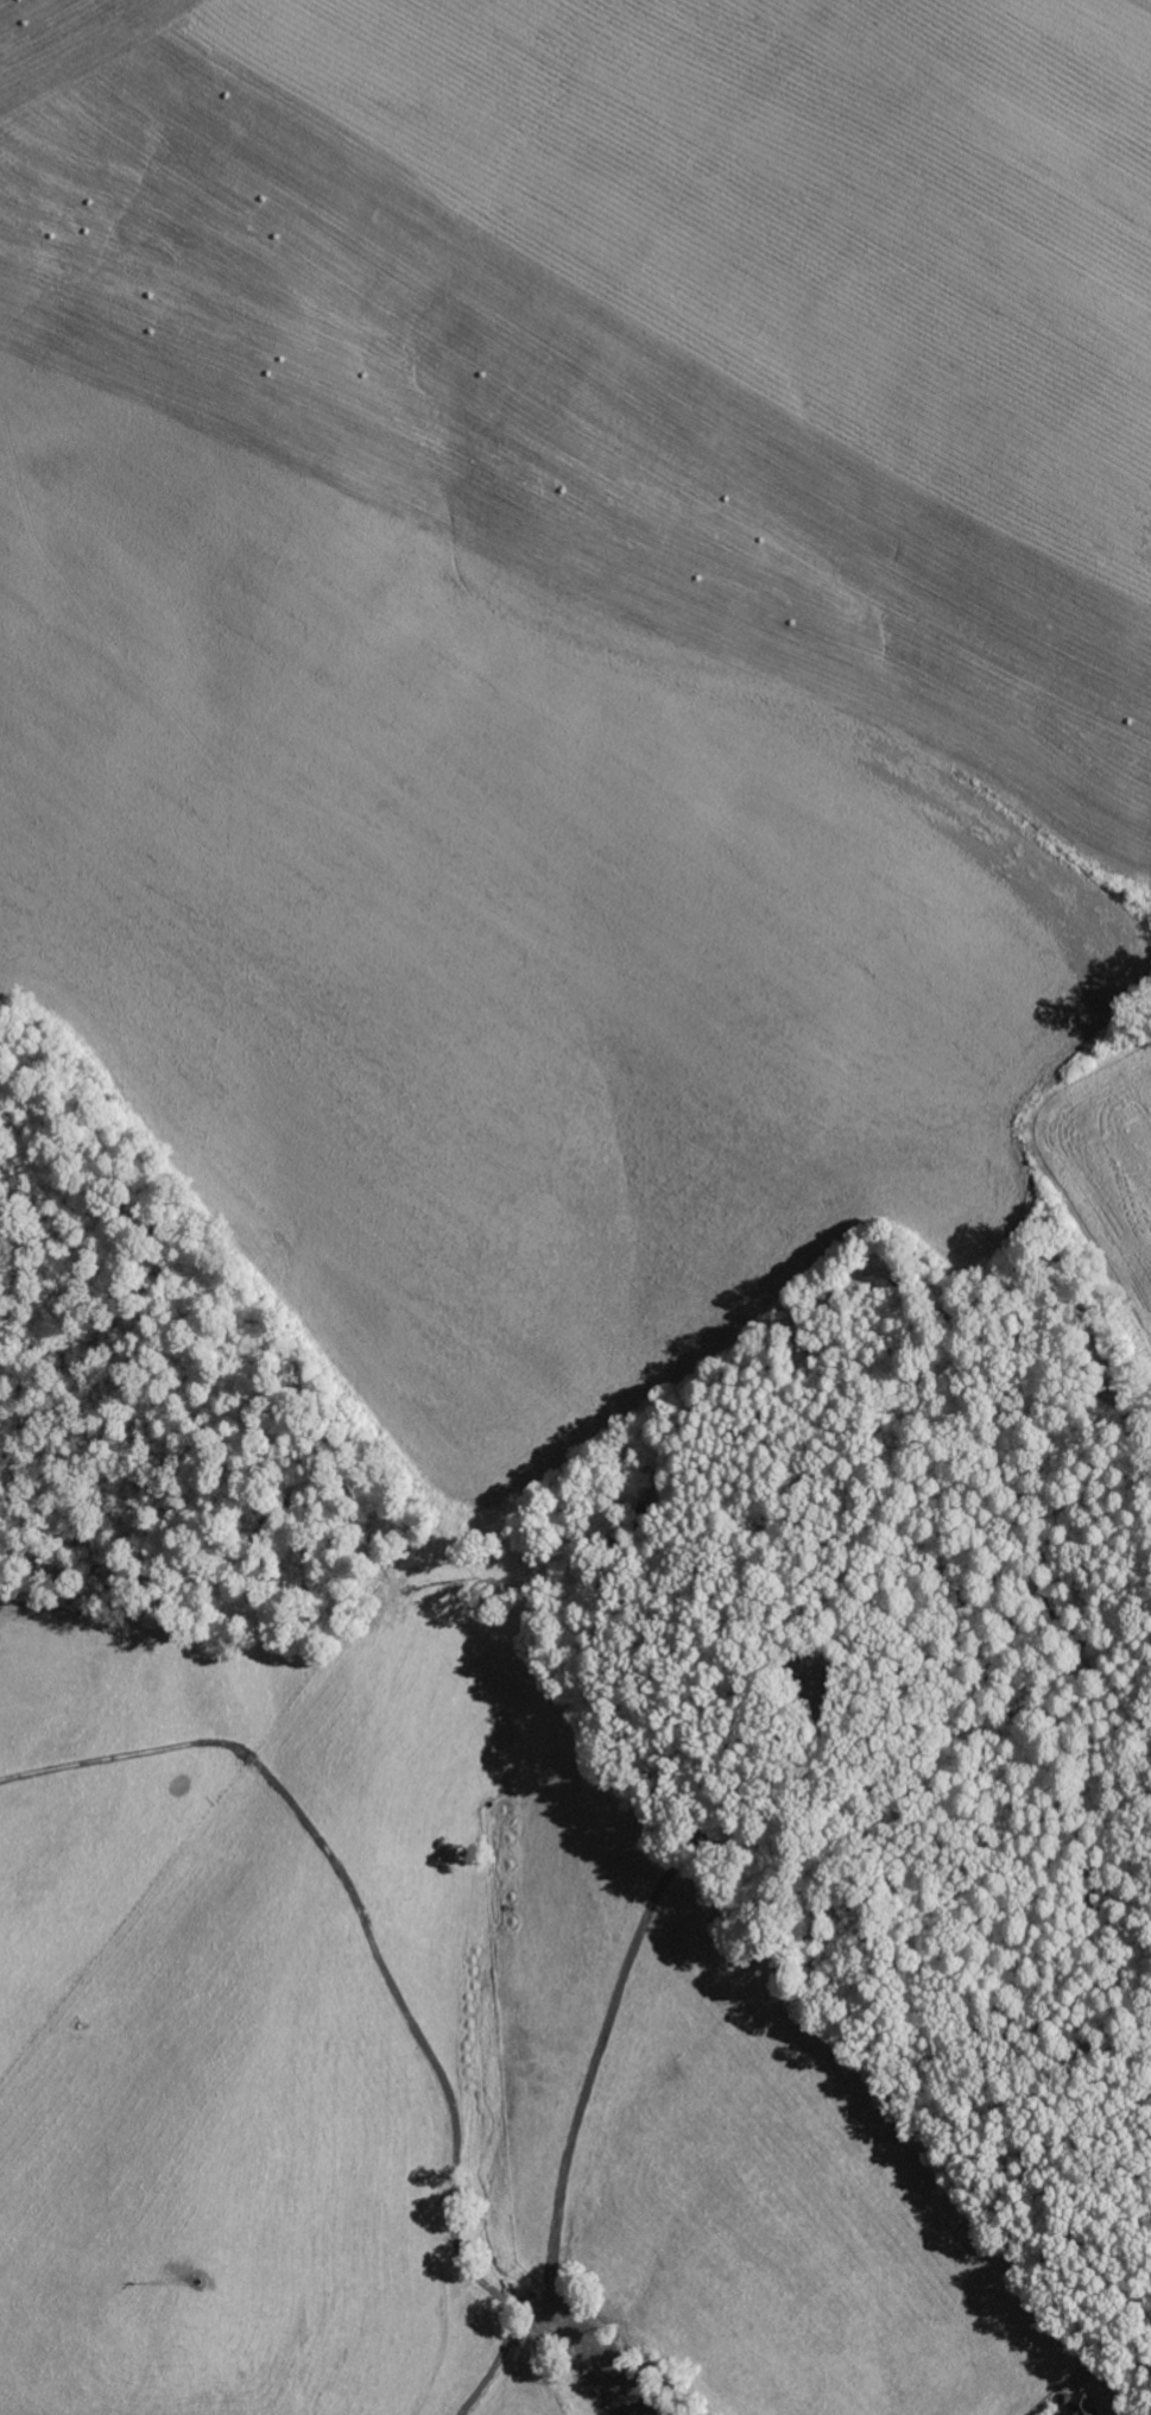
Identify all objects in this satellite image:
building: (1079, 2404)

